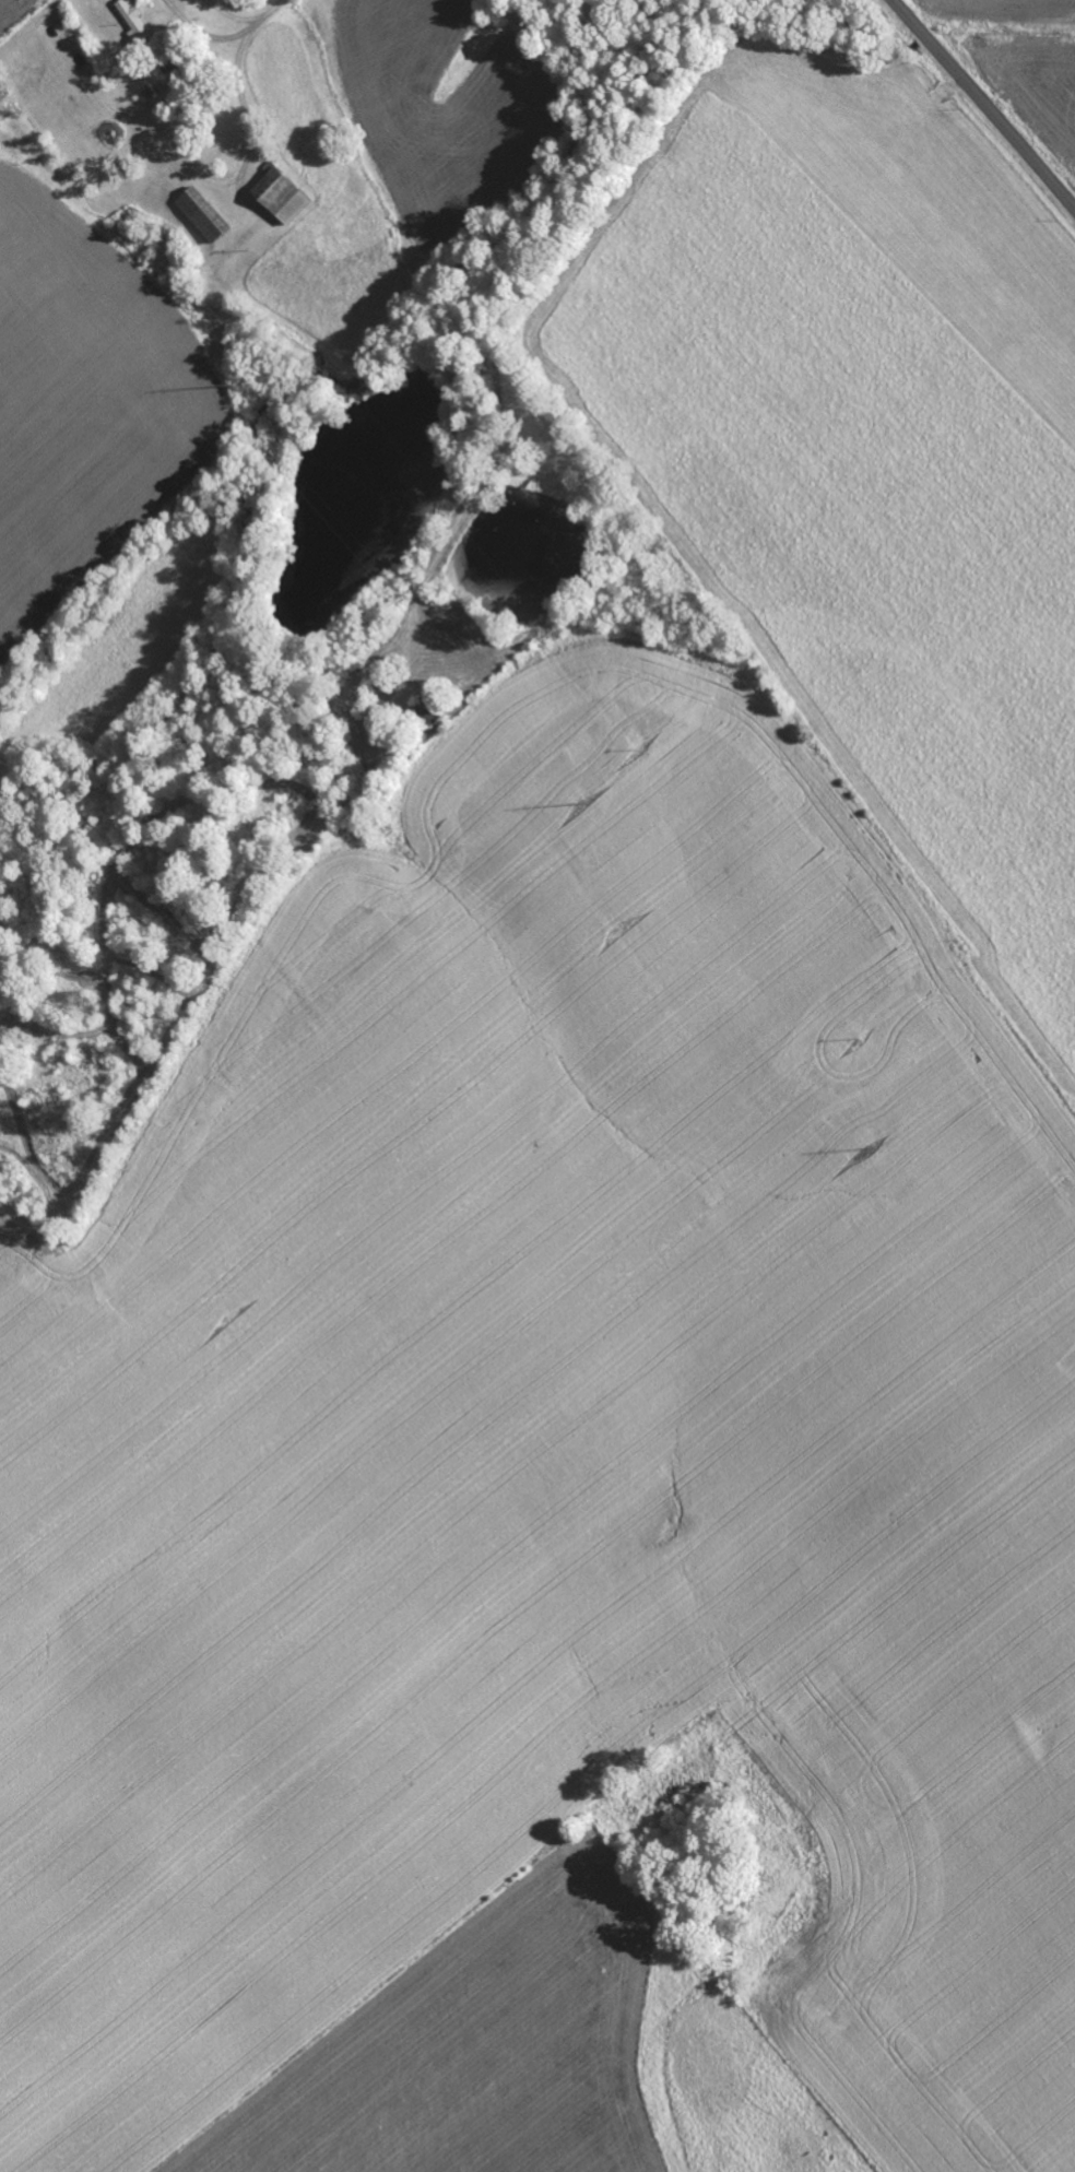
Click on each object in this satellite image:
building: (134, 19)
road: (982, 106)
building: (282, 194)
building: (202, 213)

